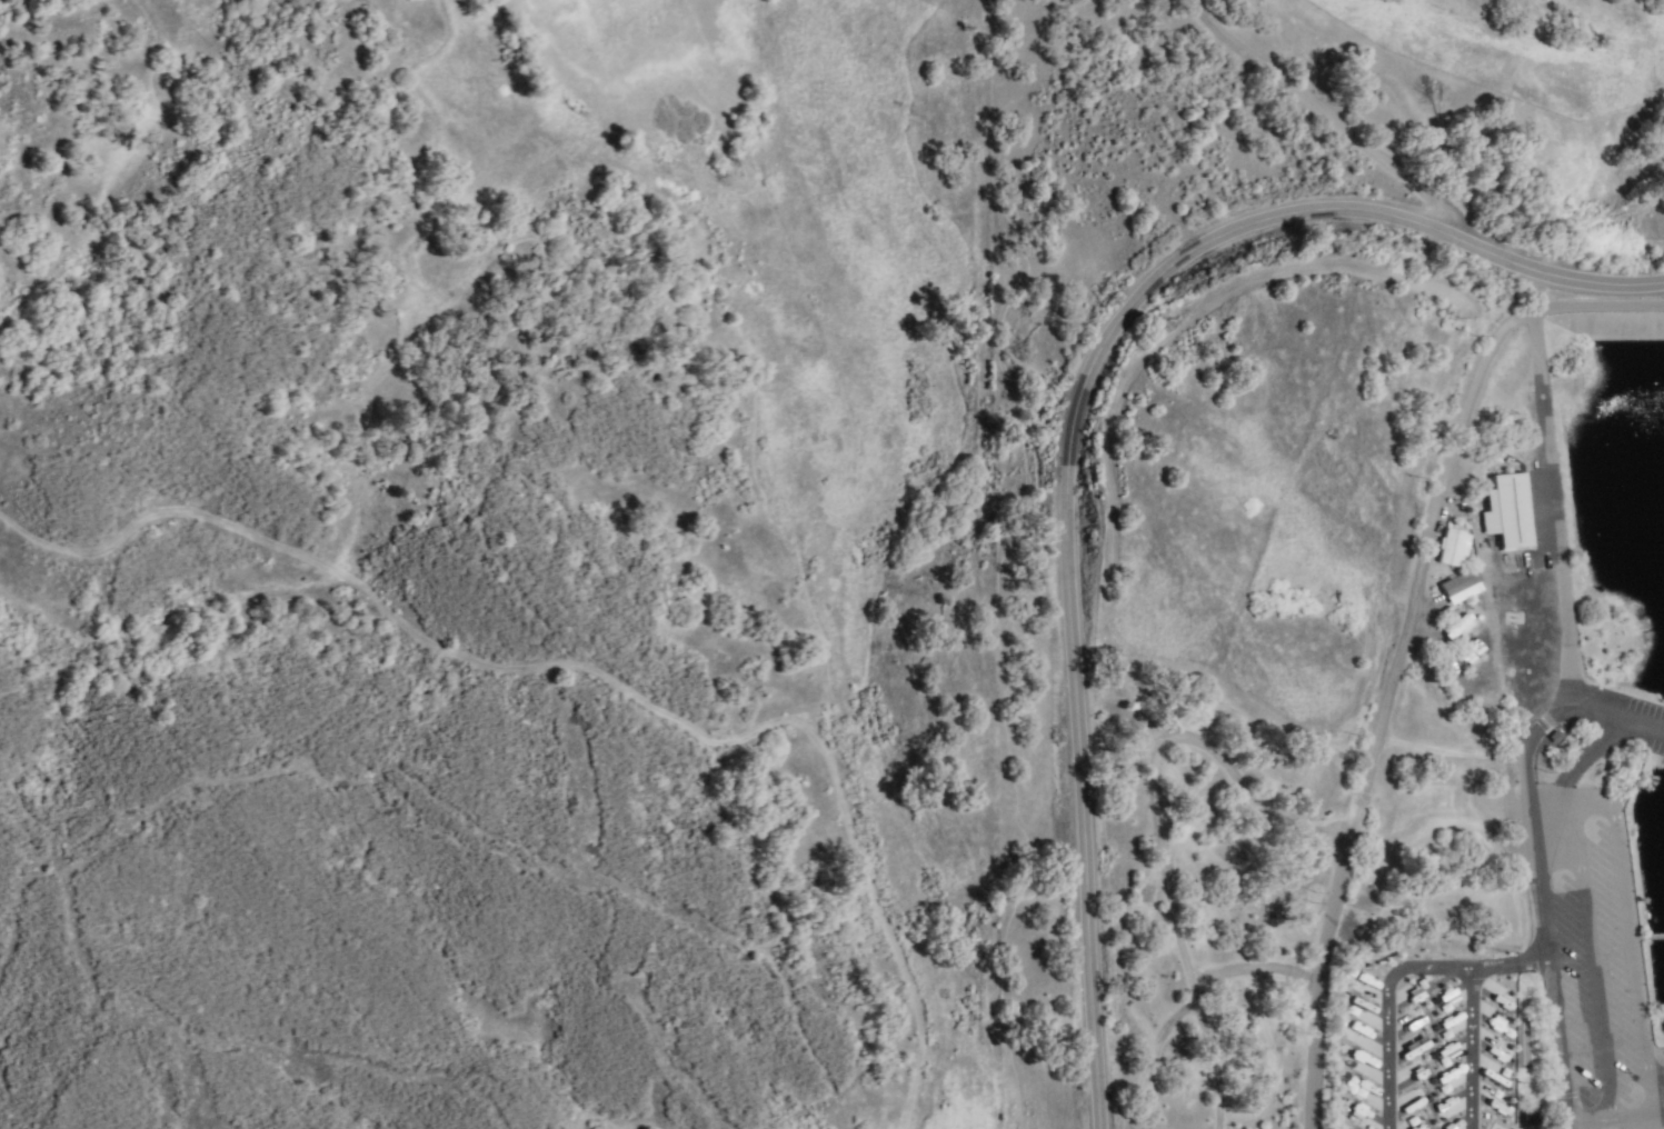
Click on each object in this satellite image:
road: (1319, 114)
road: (1537, 297)
road: (1067, 418)
building: (1507, 510)
road: (1436, 521)
building: (1452, 548)
building: (1461, 587)
road: (1157, 809)
road: (1587, 932)
building: (1452, 997)
building: (1446, 1028)
building: (1451, 1079)
building: (1362, 1088)
building: (1445, 1109)

